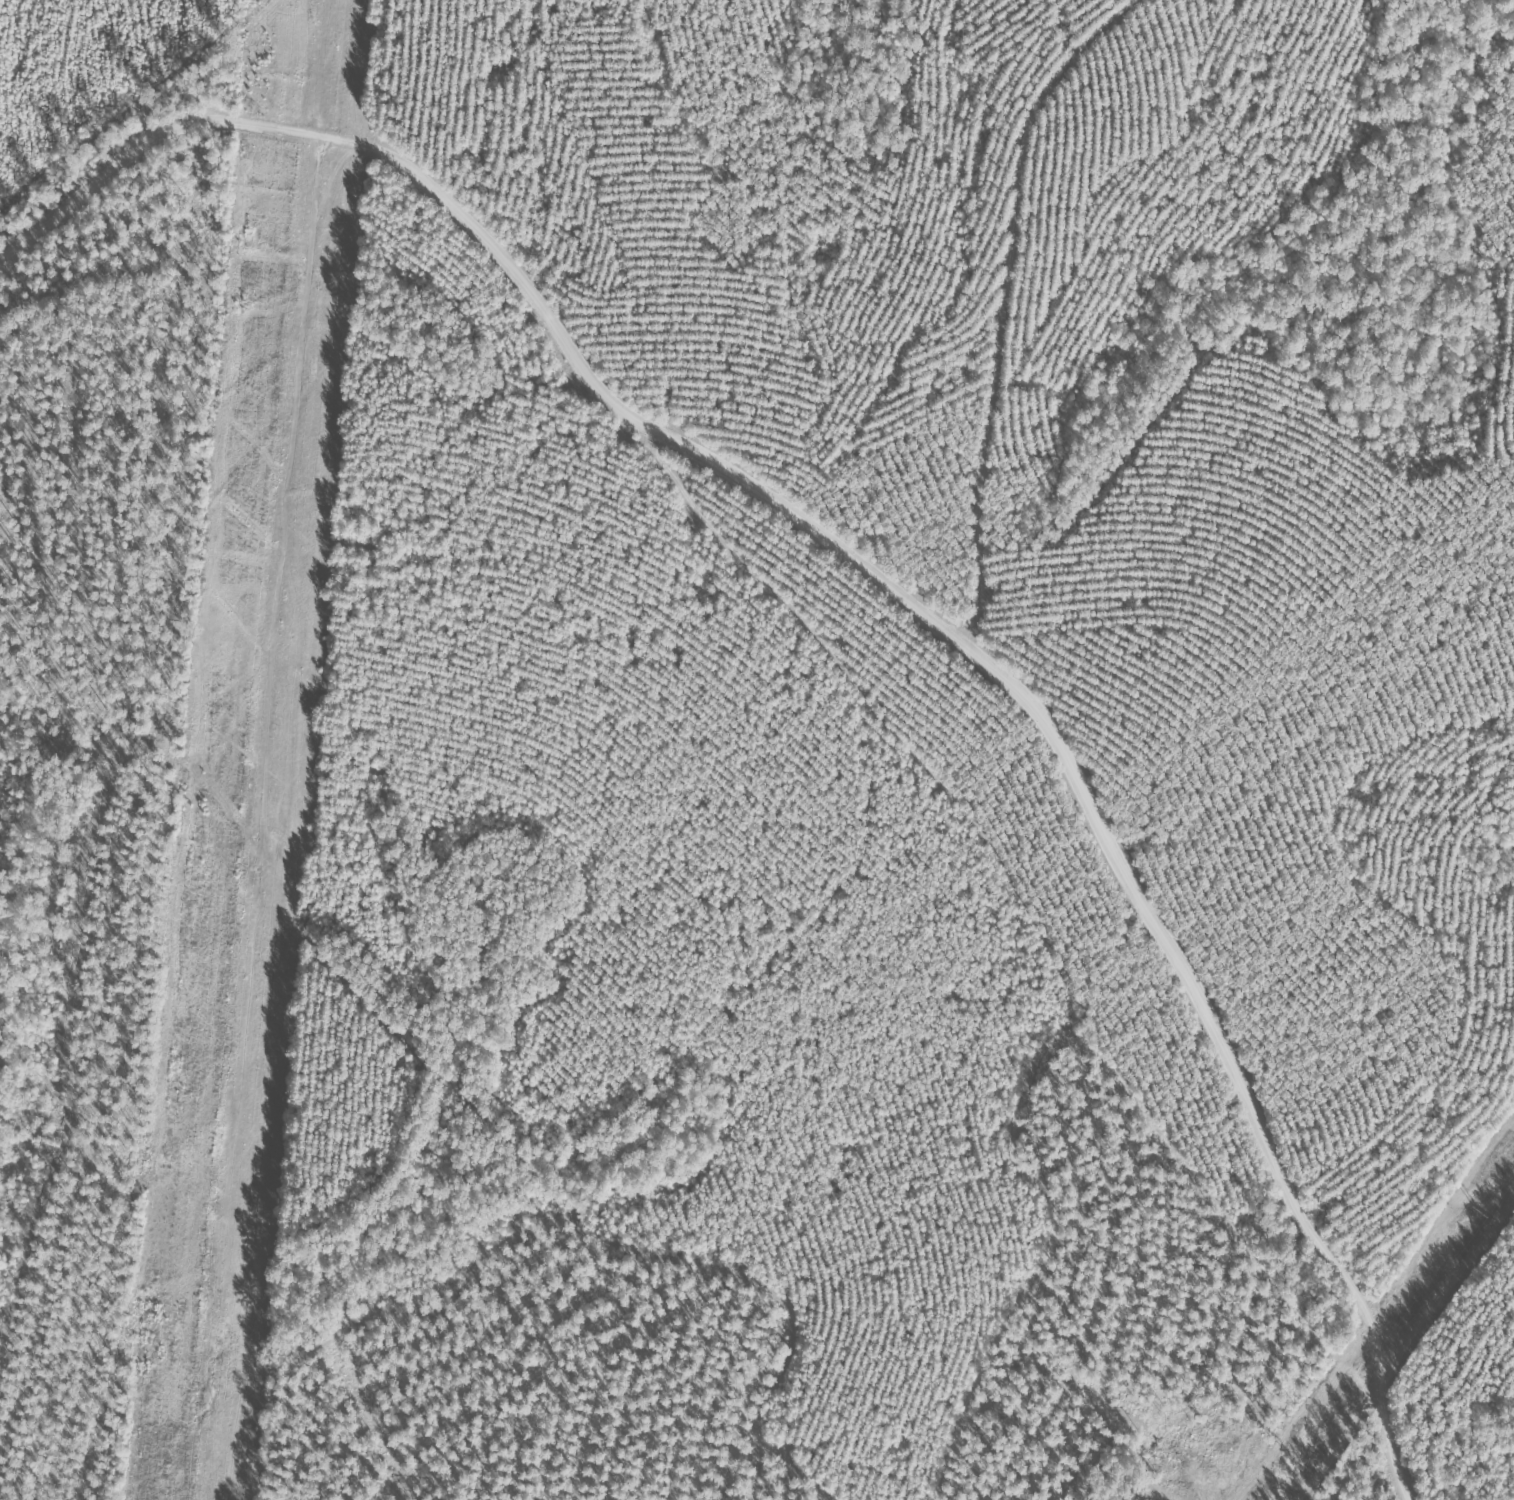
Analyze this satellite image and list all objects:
road: (227, 787)
power tower: (1475, 1210)
power tower: (1293, 1463)

